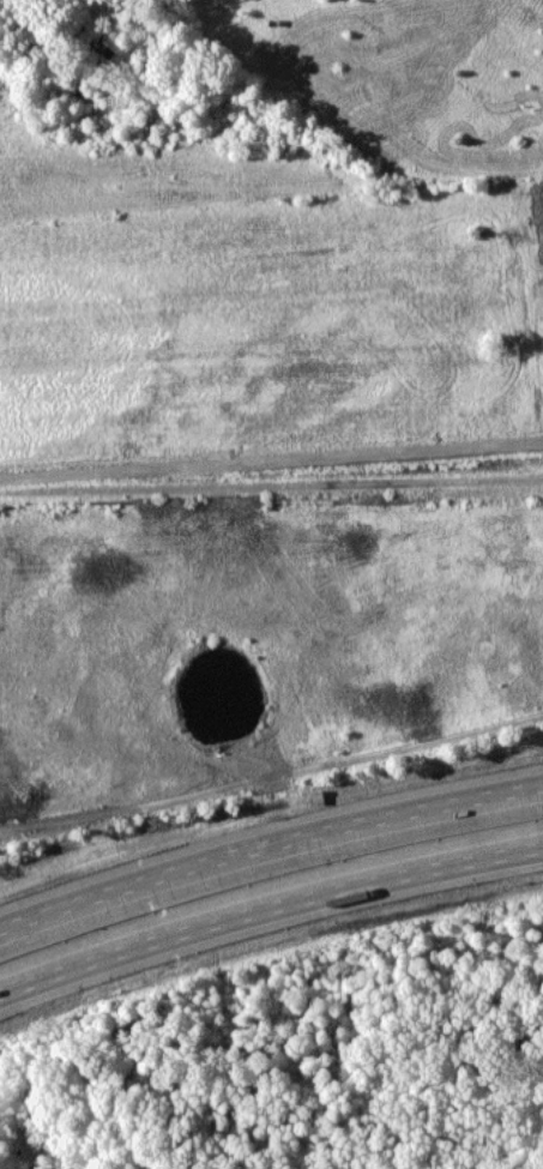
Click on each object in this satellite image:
road: (269, 845)
road: (267, 910)

